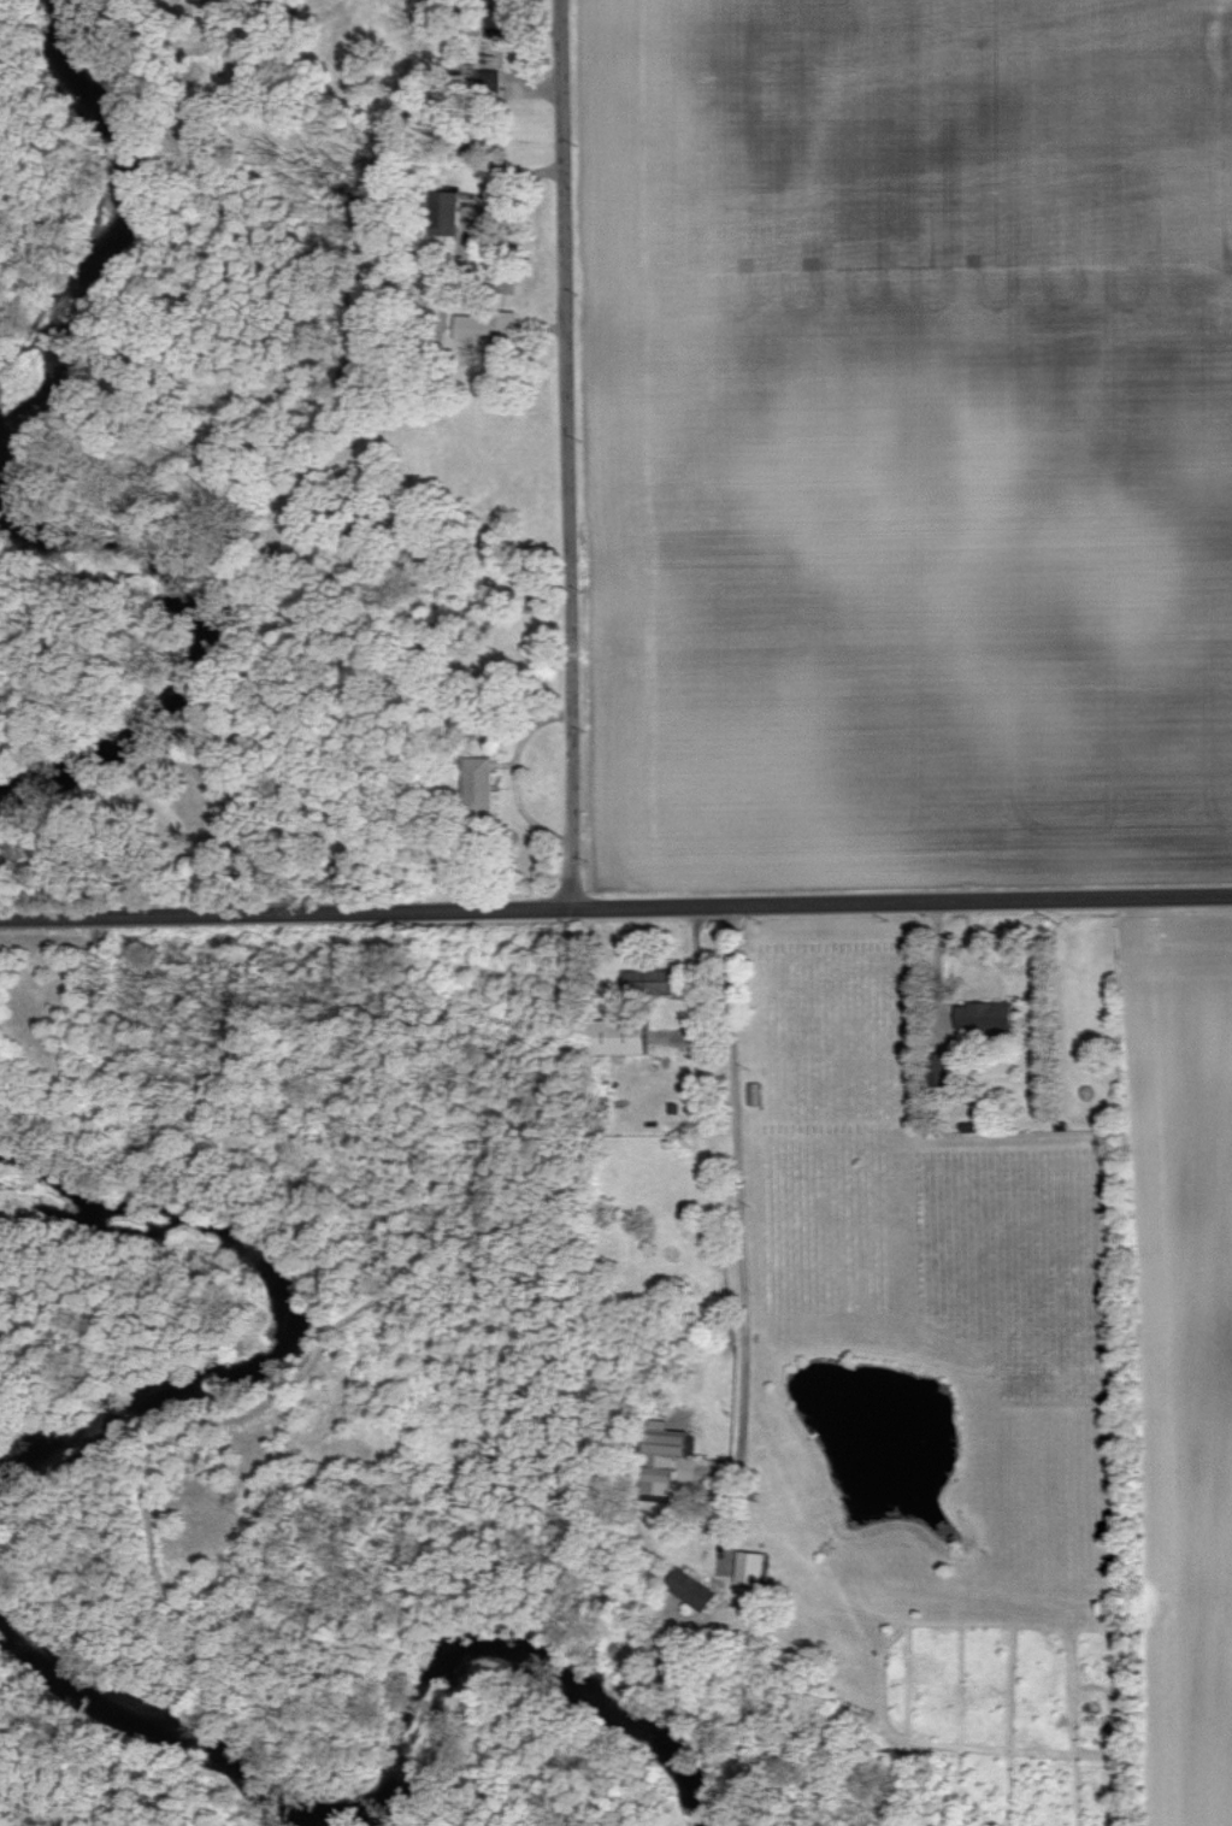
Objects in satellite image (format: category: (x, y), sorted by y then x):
building: (491, 81)
building: (449, 213)
road: (564, 459)
building: (479, 784)
road: (615, 918)
building: (650, 980)
road: (696, 988)
building: (989, 1017)
building: (621, 1036)
road: (736, 1190)
building: (749, 1567)
building: (696, 1591)

